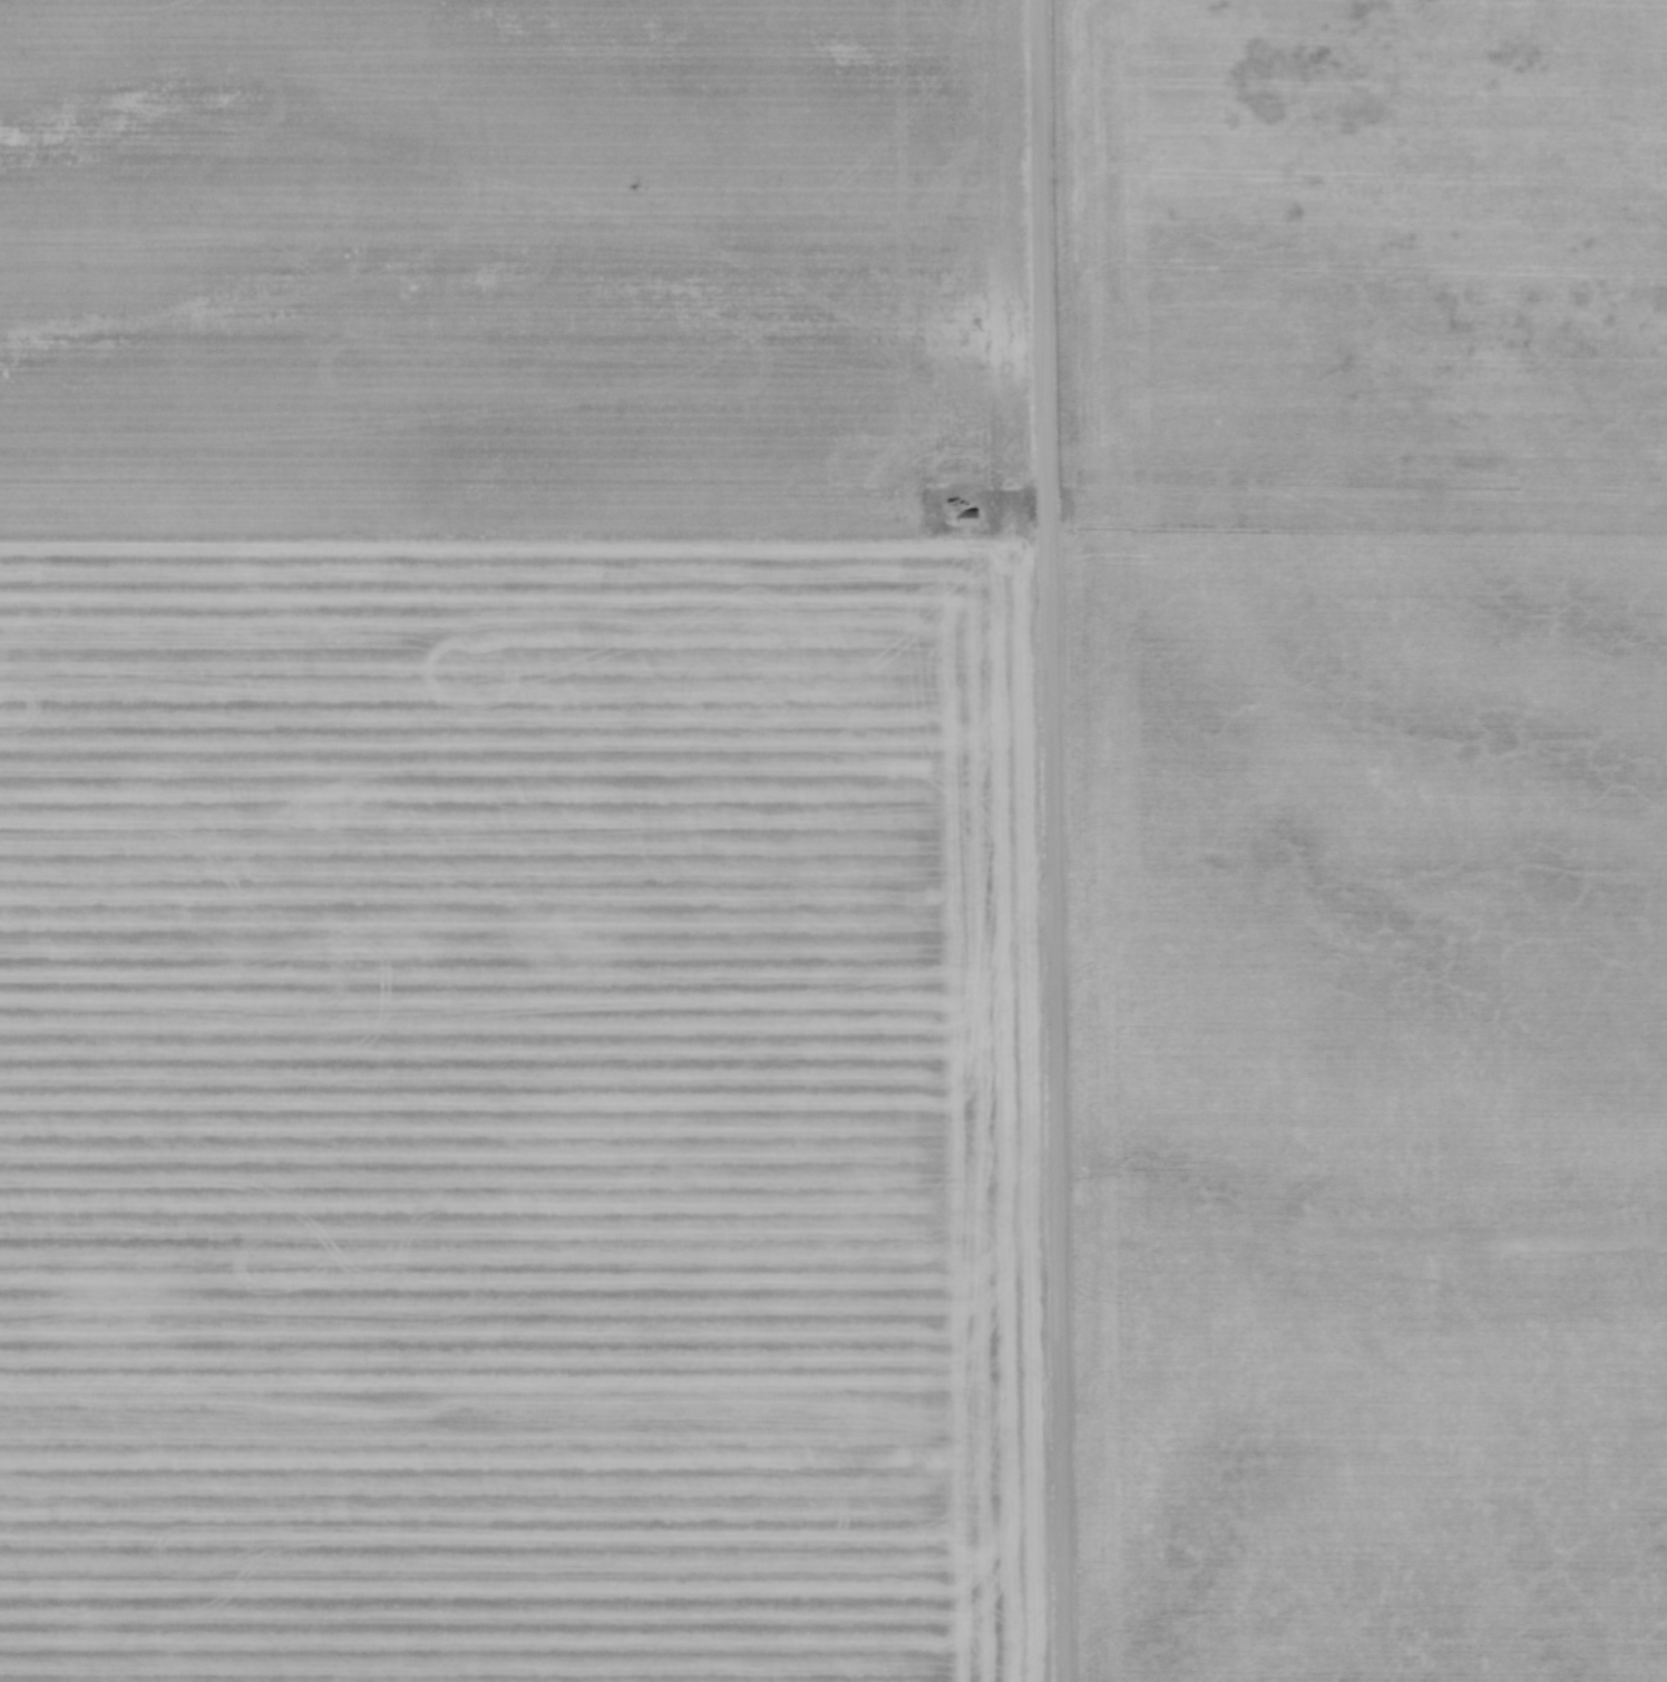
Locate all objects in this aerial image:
building: (965, 519)
crop: (1365, 835)
road: (1051, 840)
crop: (517, 844)

